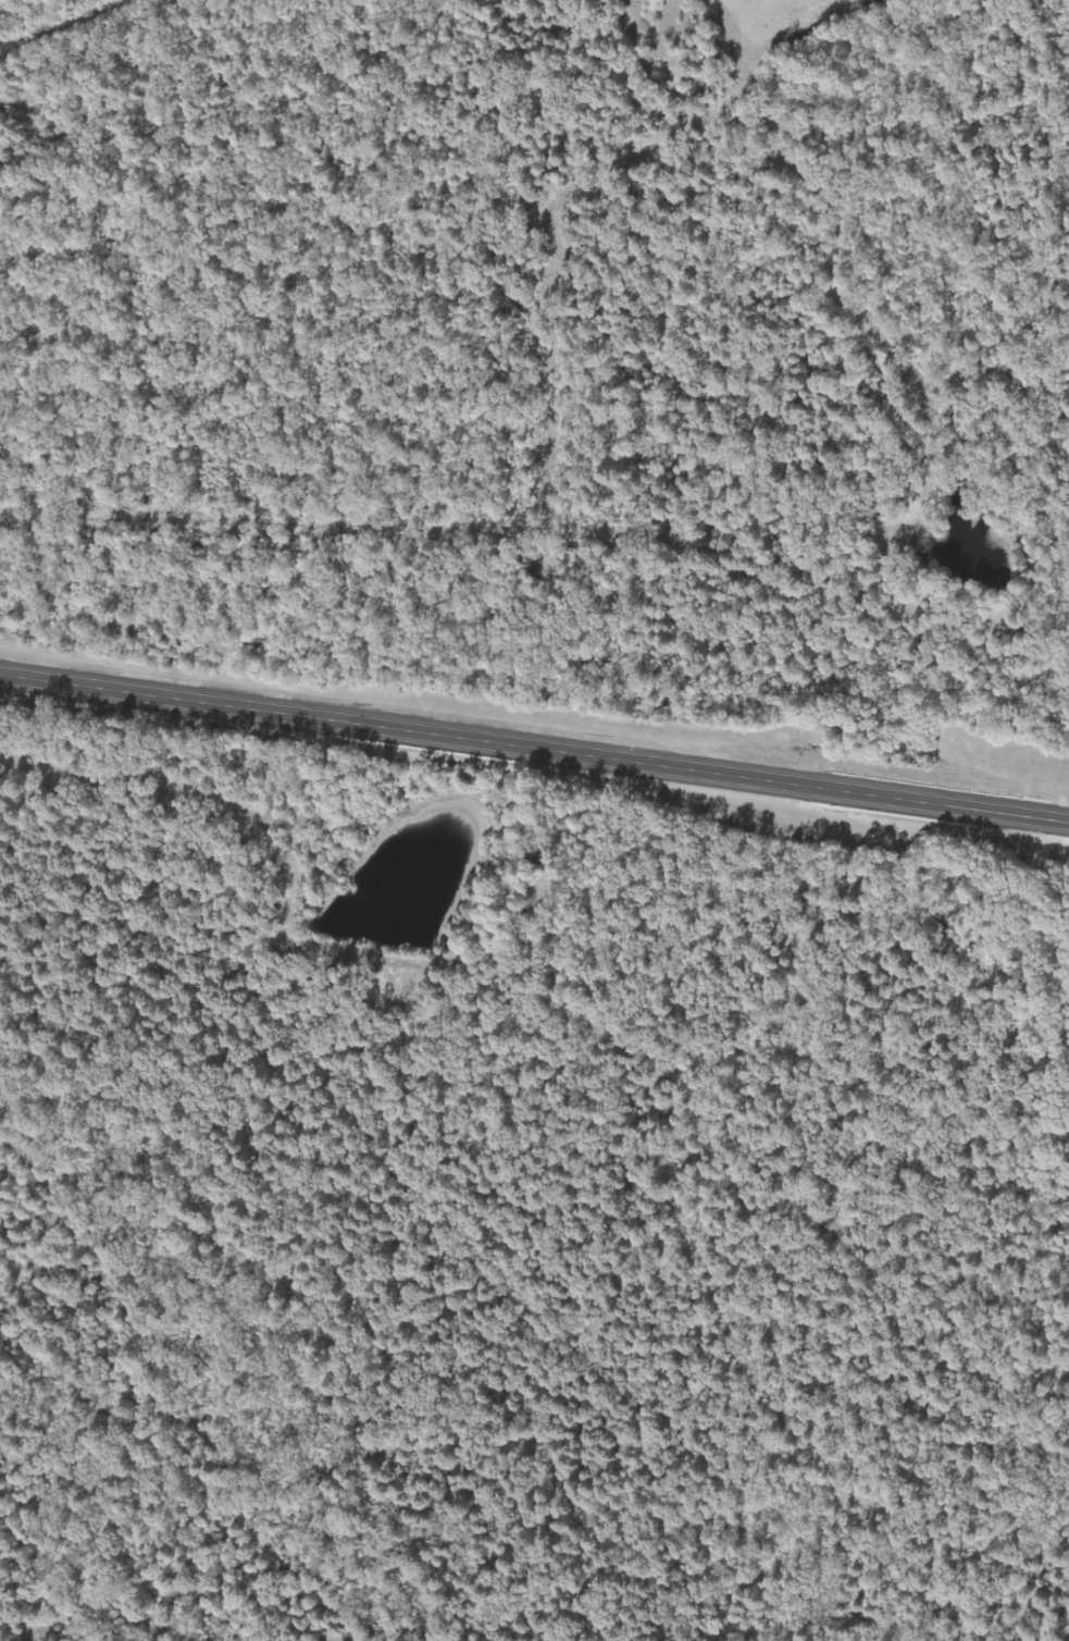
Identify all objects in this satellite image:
road: (534, 755)

